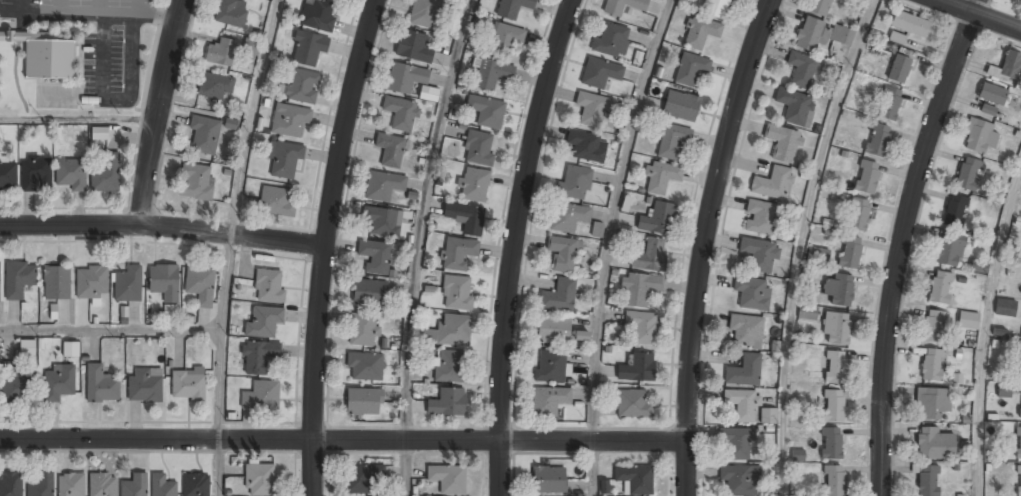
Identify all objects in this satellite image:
building: (1020, 5)
building: (623, 6)
building: (818, 7)
building: (512, 8)
building: (715, 8)
building: (423, 13)
building: (229, 14)
building: (318, 14)
road: (977, 16)
building: (909, 24)
building: (700, 32)
building: (820, 34)
building: (507, 39)
building: (610, 41)
building: (413, 47)
building: (308, 48)
building: (250, 50)
building: (221, 52)
building: (44, 55)
building: (1007, 66)
building: (691, 69)
building: (801, 69)
building: (898, 69)
building: (599, 73)
building: (492, 74)
building: (405, 78)
building: (216, 86)
building: (303, 86)
building: (992, 95)
building: (889, 103)
building: (793, 105)
building: (680, 106)
building: (592, 109)
building: (988, 109)
road: (158, 112)
building: (486, 112)
building: (400, 113)
road: (250, 115)
road: (78, 119)
building: (290, 120)
building: (99, 133)
building: (204, 135)
building: (979, 136)
building: (877, 139)
building: (672, 141)
building: (782, 142)
building: (587, 146)
building: (479, 148)
building: (390, 149)
building: (284, 159)
building: (35, 172)
building: (105, 172)
building: (967, 173)
building: (69, 174)
building: (8, 175)
building: (660, 177)
building: (866, 177)
building: (196, 182)
building: (574, 183)
building: (772, 183)
building: (474, 184)
building: (383, 186)
building: (828, 195)
building: (275, 202)
building: (955, 210)
building: (857, 214)
road: (610, 216)
road: (420, 217)
building: (465, 217)
building: (567, 217)
building: (759, 217)
building: (658, 219)
building: (382, 221)
road: (163, 227)
building: (597, 229)
road: (700, 242)
road: (903, 242)
road: (799, 243)
road: (513, 244)
road: (325, 245)
building: (947, 251)
building: (849, 252)
building: (458, 253)
building: (563, 254)
building: (759, 254)
building: (817, 255)
building: (650, 256)
building: (376, 257)
building: (0, 266)
building: (978, 266)
building: (18, 278)
building: (91, 282)
building: (164, 282)
building: (56, 283)
building: (127, 284)
building: (200, 285)
building: (268, 285)
building: (940, 287)
building: (639, 289)
building: (838, 289)
building: (456, 292)
building: (369, 293)
building: (752, 293)
building: (559, 296)
building: (1004, 307)
building: (807, 313)
building: (967, 320)
building: (264, 322)
building: (933, 326)
building: (642, 327)
building: (835, 328)
road: (984, 328)
road: (110, 329)
building: (362, 330)
building: (454, 330)
building: (552, 331)
building: (746, 331)
building: (581, 335)
road: (219, 336)
building: (26, 347)
building: (70, 350)
building: (258, 356)
building: (932, 364)
building: (365, 367)
building: (449, 367)
building: (550, 367)
building: (835, 367)
building: (637, 368)
building: (744, 371)
building: (1020, 374)
building: (58, 383)
building: (187, 384)
building: (12, 385)
building: (100, 385)
building: (144, 385)
building: (1003, 390)
building: (261, 396)
building: (548, 401)
building: (363, 402)
building: (931, 402)
building: (1020, 402)
building: (447, 403)
building: (633, 404)
building: (742, 404)
building: (833, 406)
building: (767, 416)
road: (343, 440)
building: (1018, 442)
building: (737, 443)
building: (830, 443)
building: (933, 444)
road: (219, 468)
road: (404, 468)
road: (592, 468)
building: (361, 478)
building: (259, 479)
building: (634, 479)
building: (447, 480)
building: (737, 480)
building: (833, 480)
building: (1018, 480)
building: (548, 481)
building: (927, 481)
building: (10, 484)
building: (70, 484)
building: (101, 484)
building: (196, 484)
building: (41, 485)
building: (134, 485)
building: (161, 486)

